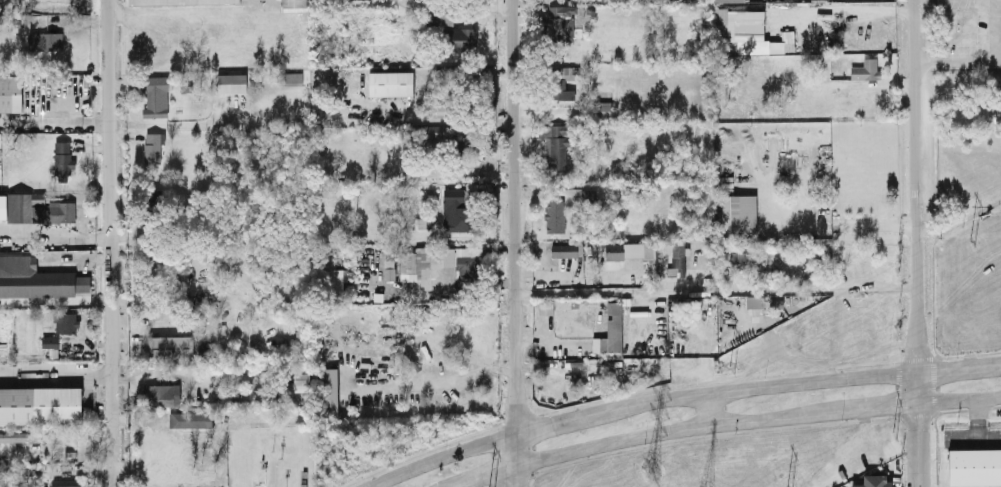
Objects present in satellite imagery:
building: (726, 0)
building: (179, 1)
building: (293, 3)
road: (852, 7)
building: (559, 22)
building: (741, 22)
building: (719, 29)
building: (459, 37)
building: (45, 40)
building: (770, 43)
road: (960, 59)
building: (865, 69)
building: (291, 77)
building: (562, 81)
building: (231, 82)
building: (390, 82)
building: (10, 92)
building: (155, 96)
building: (600, 106)
building: (441, 108)
road: (53, 120)
building: (434, 130)
building: (152, 145)
building: (469, 146)
road: (511, 146)
building: (555, 146)
building: (62, 159)
road: (918, 184)
building: (457, 206)
building: (34, 207)
building: (737, 211)
road: (804, 216)
building: (554, 218)
building: (418, 222)
road: (874, 222)
power tower: (970, 239)
road: (107, 241)
building: (731, 244)
building: (564, 249)
building: (636, 254)
building: (733, 258)
building: (677, 259)
building: (439, 266)
building: (388, 269)
building: (37, 278)
building: (337, 279)
road: (716, 289)
building: (753, 300)
road: (54, 302)
building: (545, 306)
building: (65, 321)
building: (610, 329)
building: (49, 341)
building: (170, 346)
road: (514, 361)
road: (1000, 361)
power tower: (732, 366)
road: (960, 366)
road: (54, 376)
building: (301, 377)
road: (434, 380)
road: (759, 385)
building: (328, 390)
building: (162, 394)
building: (40, 403)
road: (84, 404)
road: (707, 407)
building: (190, 418)
road: (558, 419)
road: (722, 421)
road: (921, 428)
building: (13, 435)
road: (74, 440)
road: (439, 455)
road: (517, 458)
building: (974, 465)
power tower: (650, 472)
building: (874, 480)
building: (65, 482)

